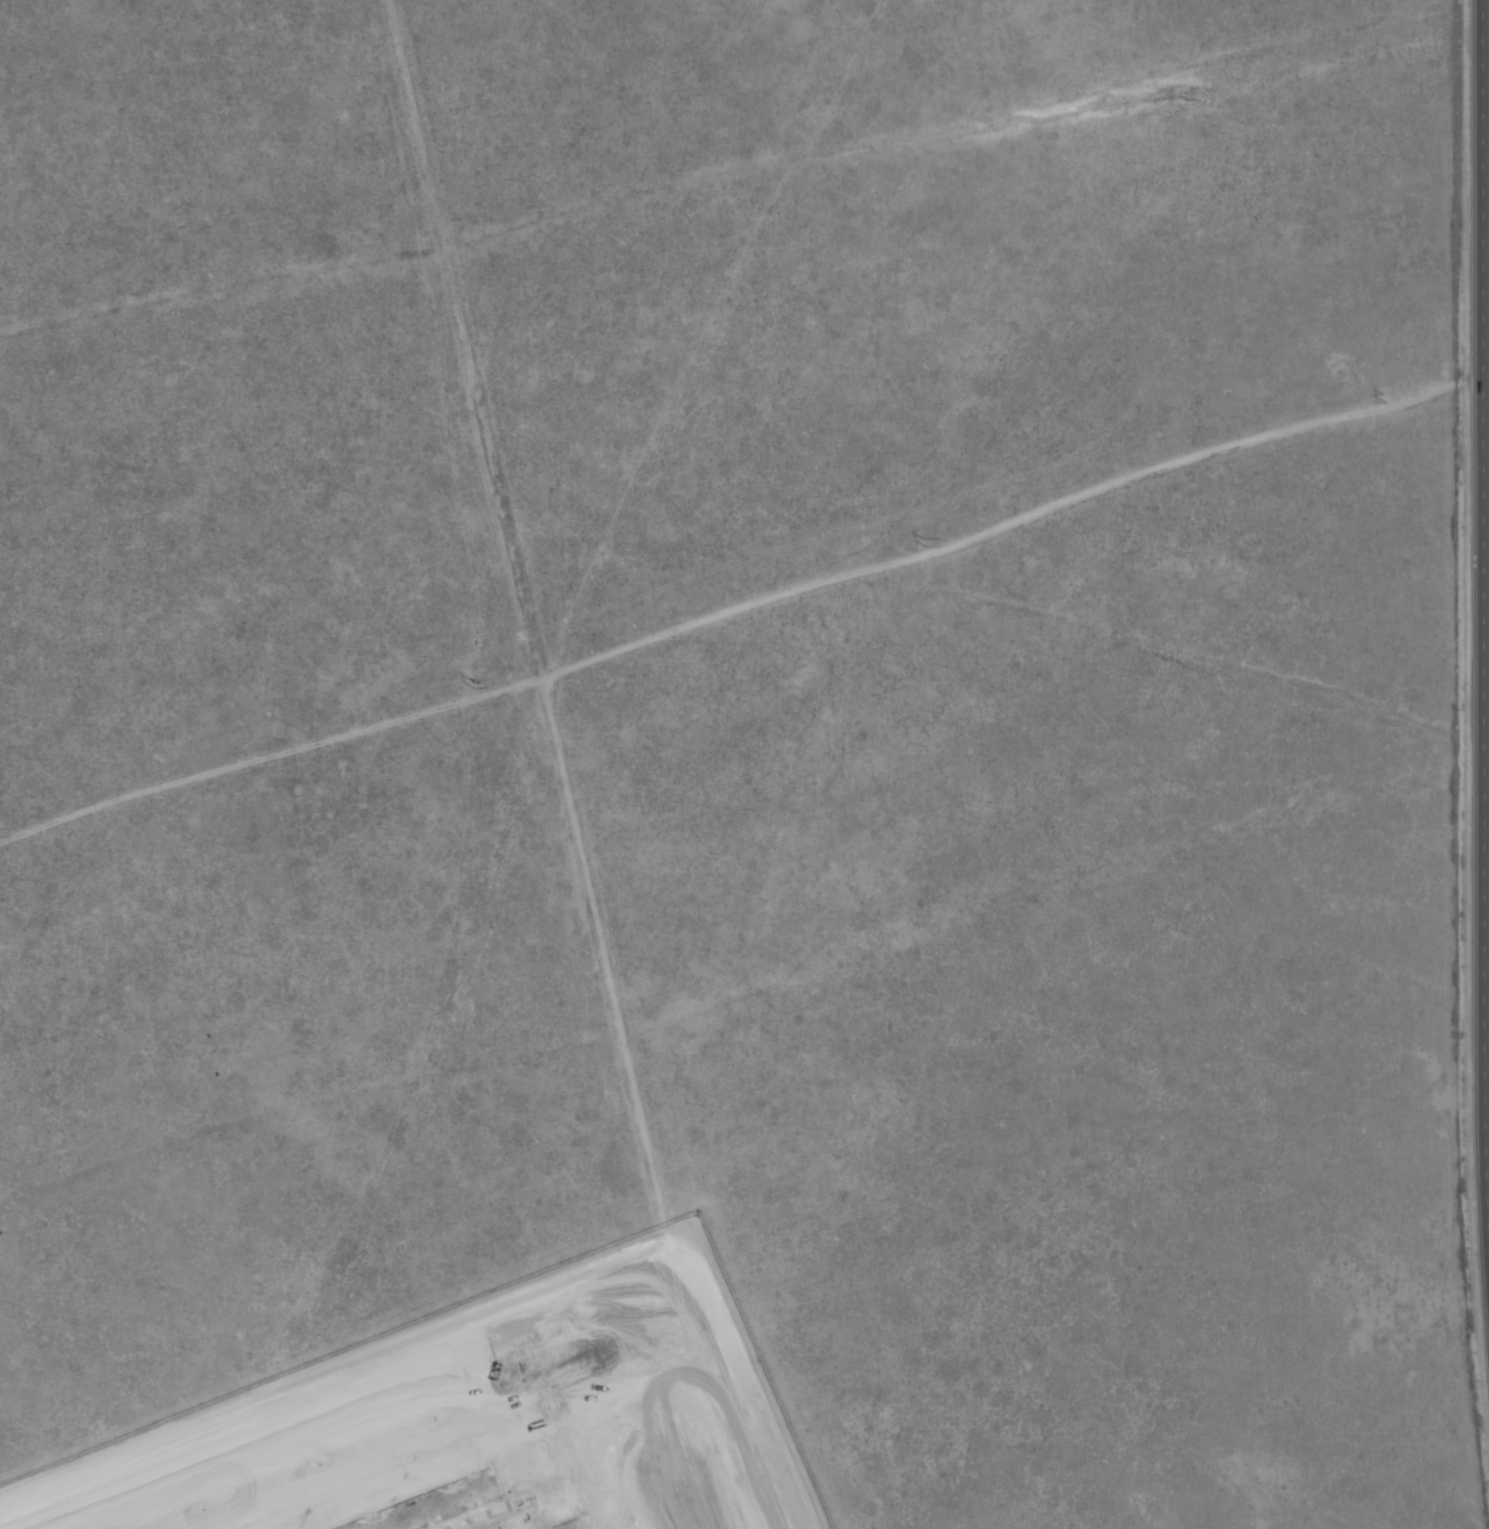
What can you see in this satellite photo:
power tower: (1385, 398)
road: (674, 512)
power tower: (925, 542)
road: (1473, 680)
power tower: (471, 684)
road: (328, 773)
road: (309, 835)
road: (333, 868)
road: (348, 907)
road: (364, 946)
road: (393, 1020)
building: (105, 1052)
road: (332, 1143)
road: (653, 1322)
building: (510, 1332)
storage tank: (510, 1332)
road: (272, 1347)
road: (641, 1359)
parking lot: (266, 1404)
road: (327, 1458)
road: (771, 1478)
building: (520, 1518)

